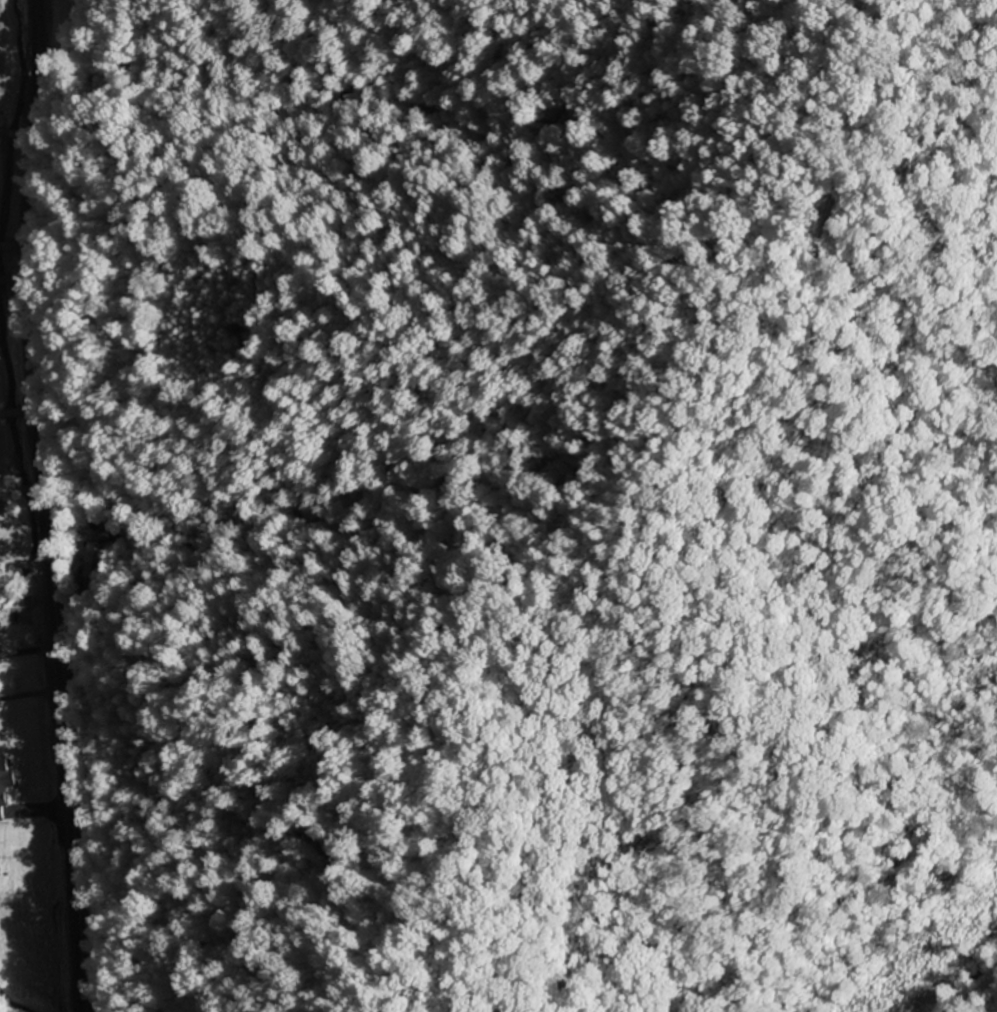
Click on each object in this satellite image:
road: (43, 506)
building: (99, 554)
building: (1, 623)
building: (5, 784)

